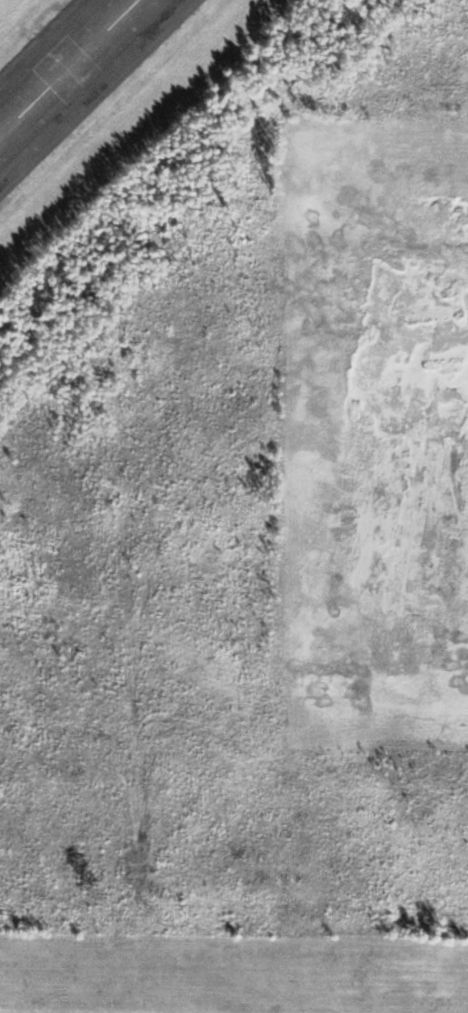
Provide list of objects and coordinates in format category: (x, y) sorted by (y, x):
building: (70, 68)
airport runway: (70, 69)
building: (4, 185)
airport: (234, 506)

